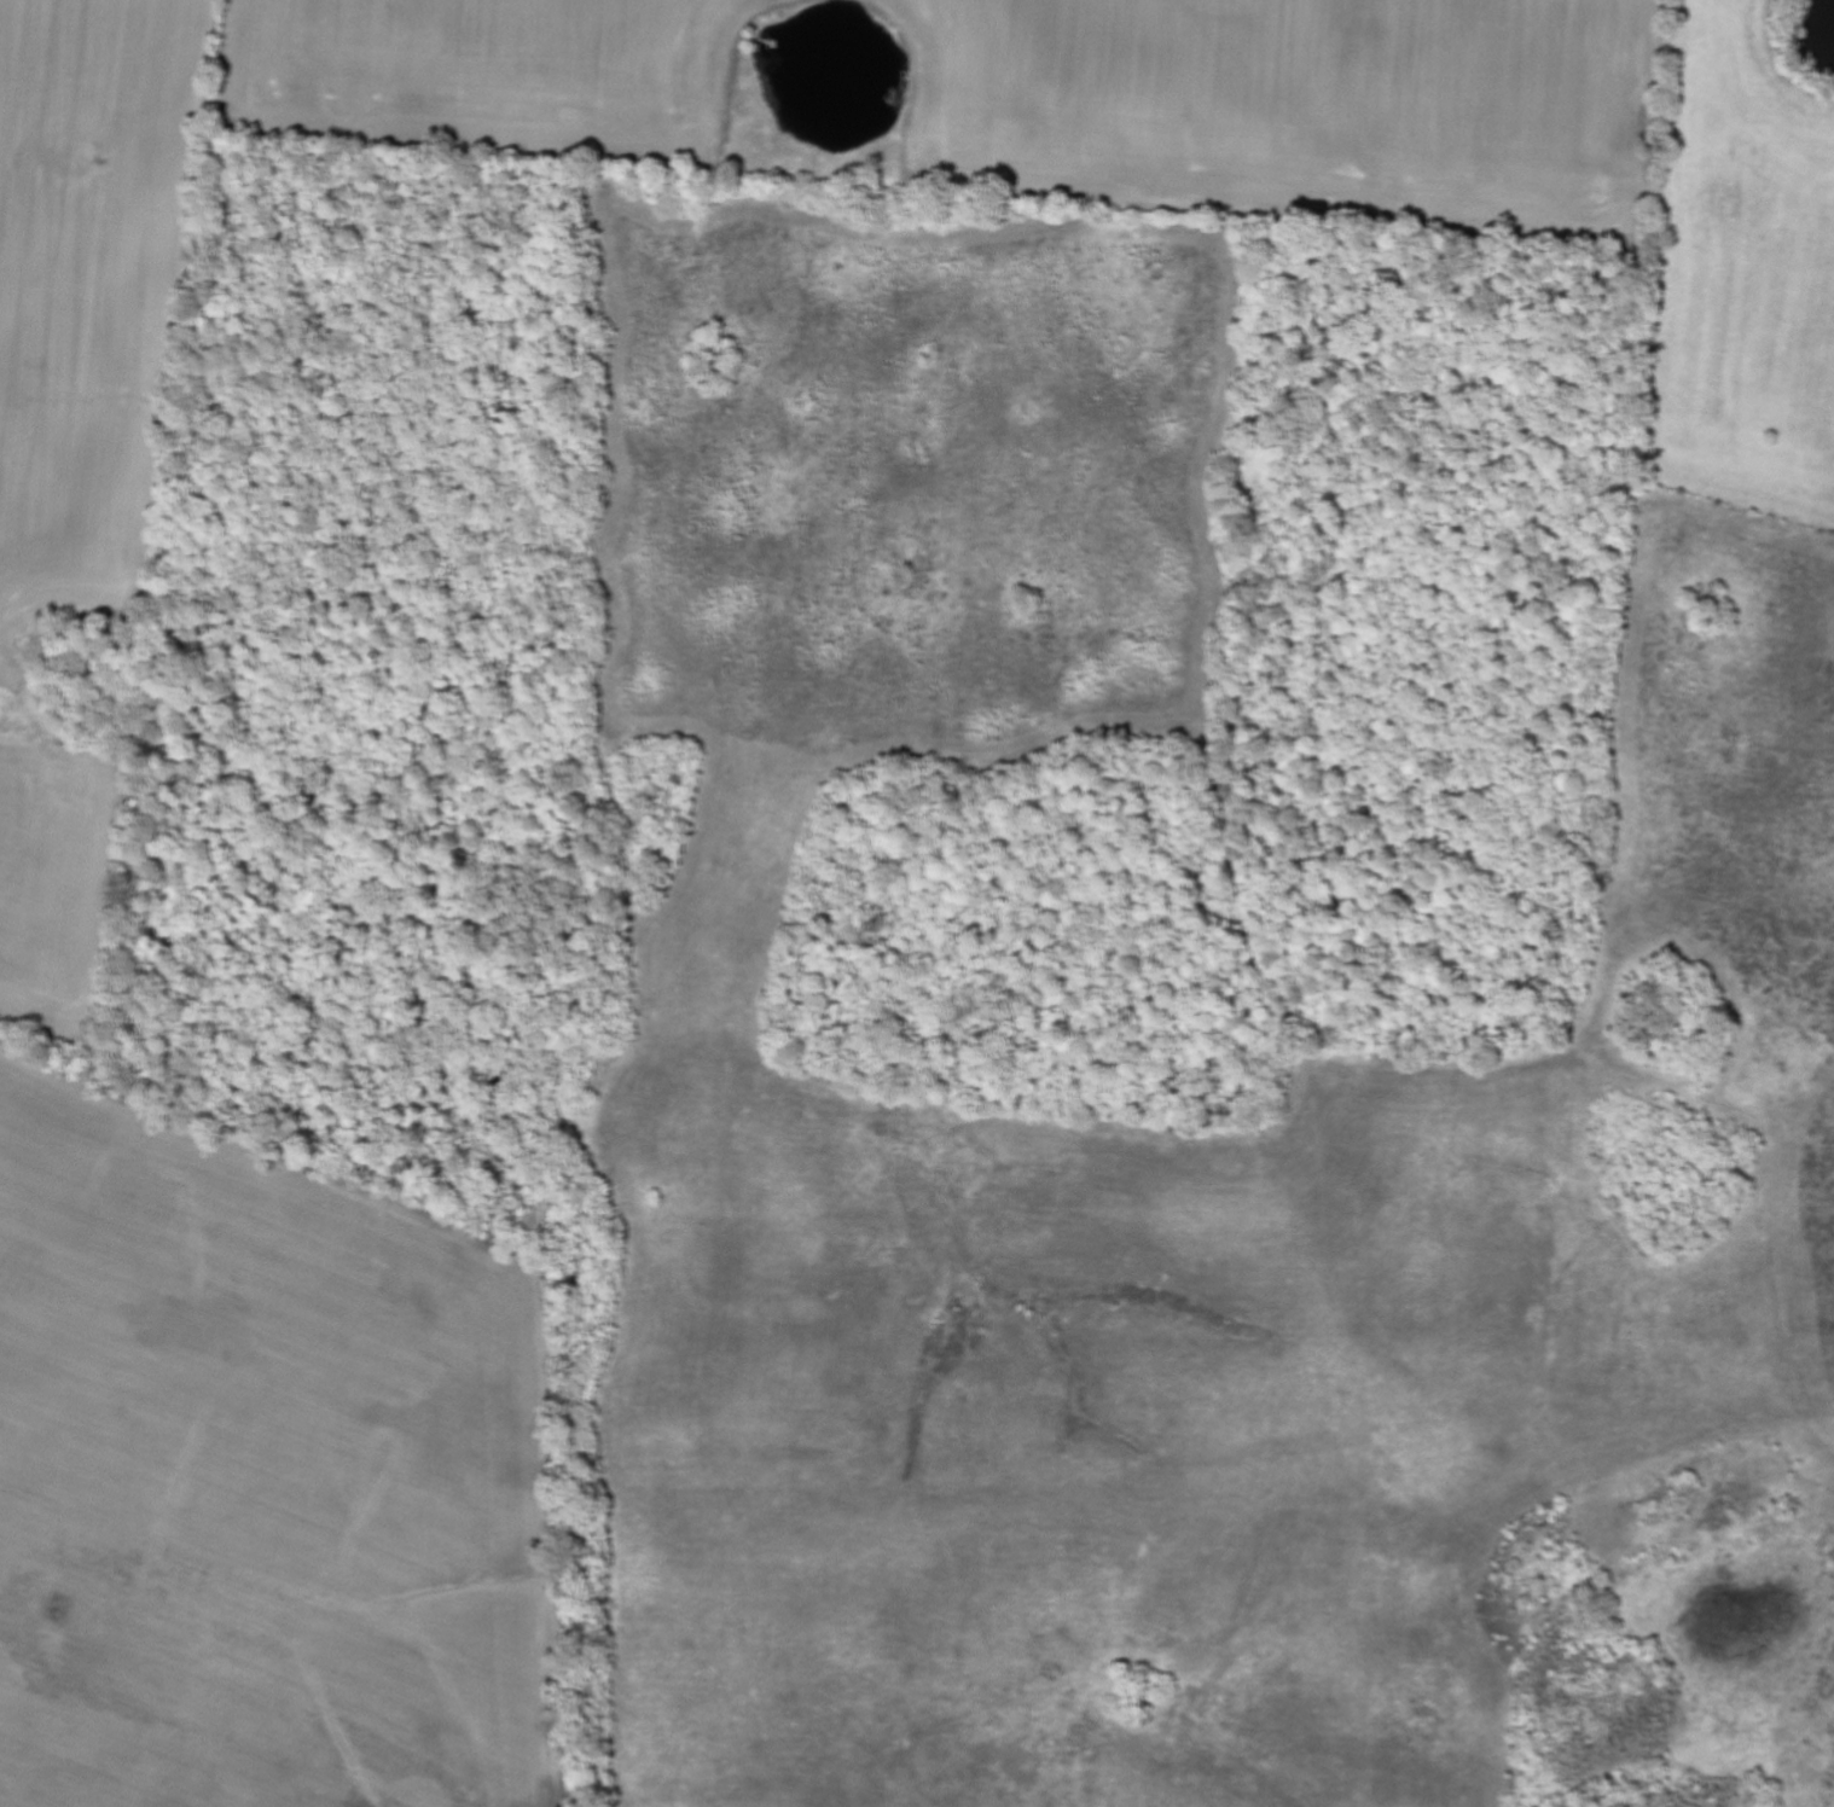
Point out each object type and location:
road: (1517, 266)

